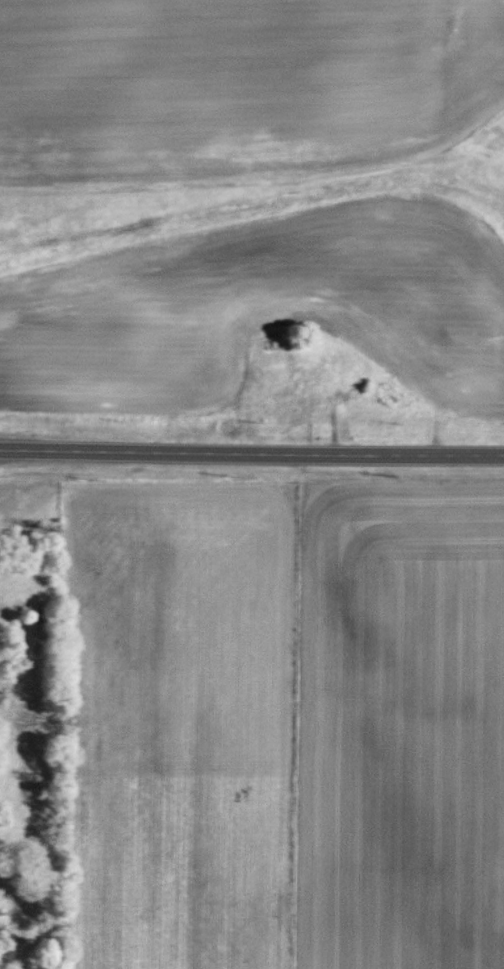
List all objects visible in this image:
road: (252, 451)

